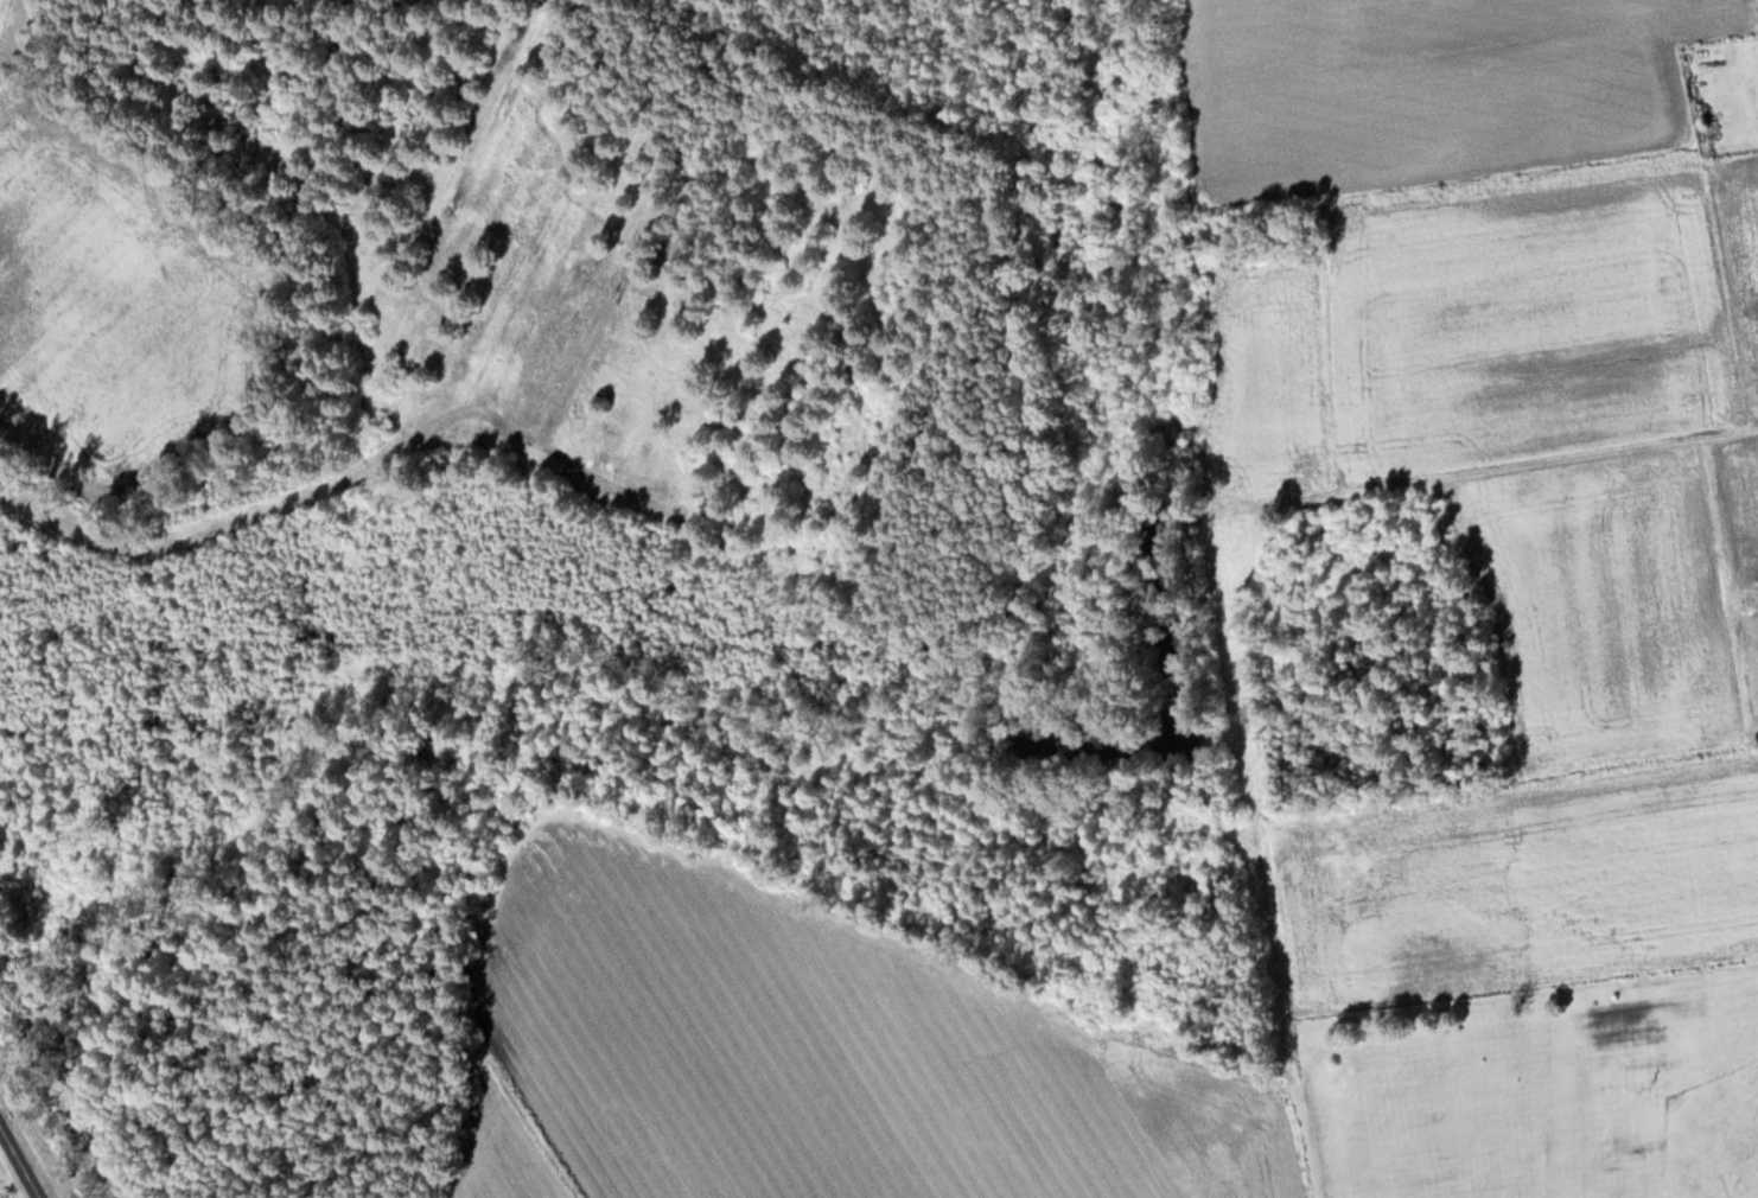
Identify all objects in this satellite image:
road: (19, 501)
building: (661, 1107)
road: (18, 1164)

